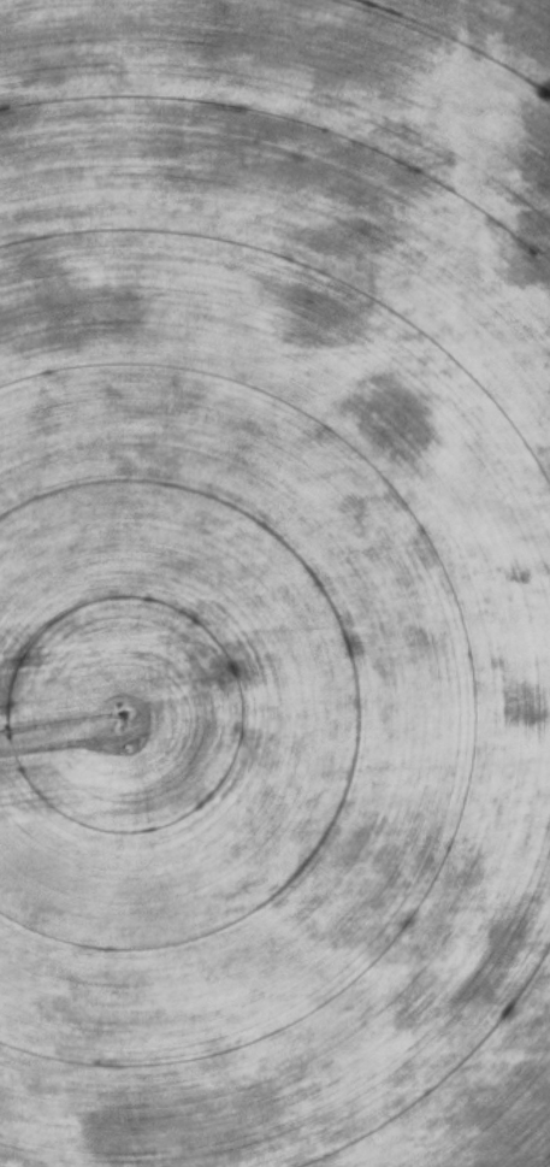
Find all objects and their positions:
wastewater plant: (274, 583)

